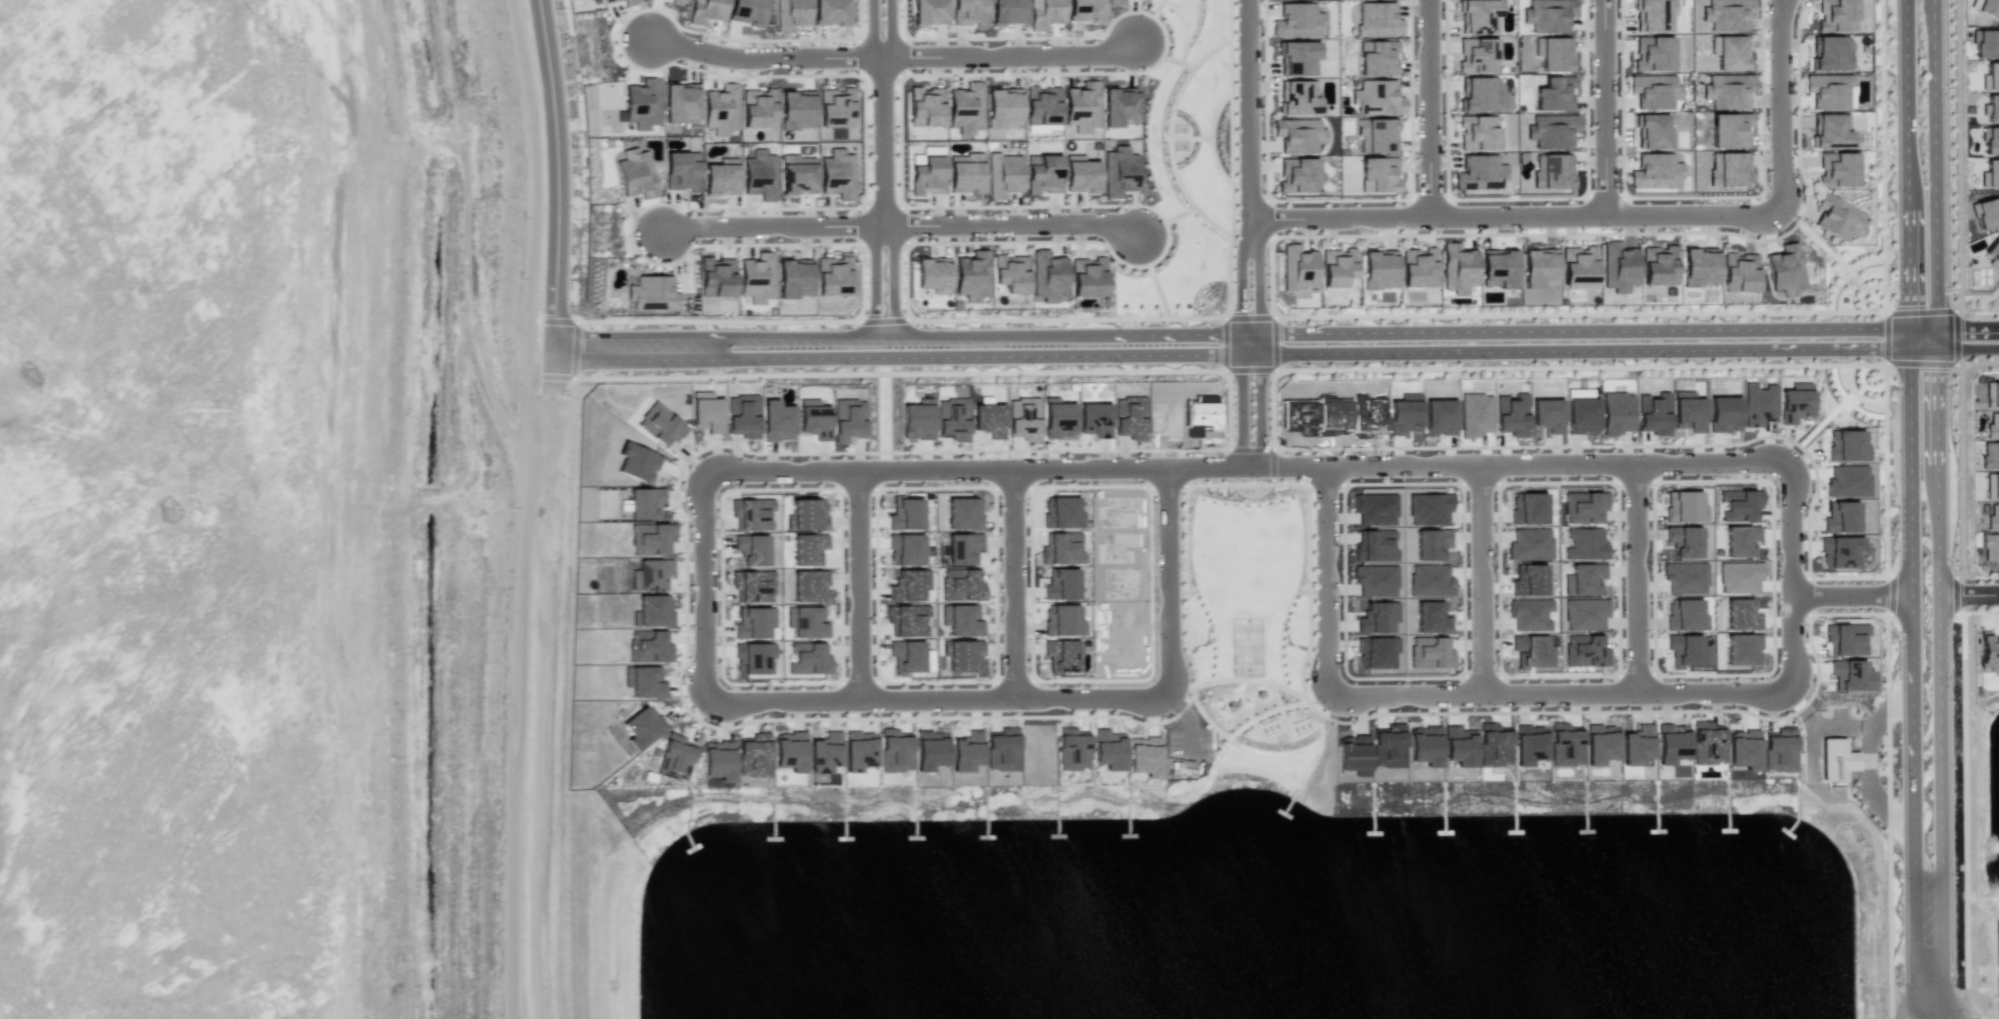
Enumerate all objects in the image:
building: (595, 0)
building: (609, 1)
building: (680, 1)
building: (630, 2)
building: (1115, 2)
building: (1008, 4)
building: (1988, 7)
building: (1086, 10)
building: (706, 11)
building: (746, 11)
building: (929, 12)
building: (969, 12)
building: (832, 13)
building: (1046, 13)
building: (791, 14)
building: (1726, 14)
building: (1478, 15)
building: (1547, 15)
building: (1654, 15)
building: (1836, 15)
building: (1297, 20)
building: (1378, 20)
road: (891, 29)
road: (871, 30)
building: (1984, 44)
building: (1729, 52)
building: (1829, 53)
road: (1010, 54)
building: (1553, 54)
building: (1653, 54)
building: (1477, 55)
road: (763, 57)
building: (1377, 57)
building: (1298, 58)
building: (1991, 76)
building: (1727, 90)
building: (1829, 90)
building: (1654, 91)
building: (1554, 93)
building: (1479, 94)
building: (1298, 97)
building: (1377, 97)
building: (681, 102)
building: (641, 105)
building: (1042, 106)
road: (1779, 106)
building: (836, 107)
building: (926, 107)
building: (1082, 107)
building: (759, 108)
building: (966, 108)
building: (1004, 108)
building: (1119, 108)
building: (797, 109)
road: (1419, 109)
road: (1603, 109)
building: (1992, 109)
building: (721, 110)
road: (1250, 117)
building: (1729, 130)
building: (1830, 130)
building: (1552, 131)
building: (1653, 131)
building: (1477, 133)
building: (1298, 135)
building: (1376, 135)
road: (883, 140)
building: (1990, 141)
park: (1185, 169)
building: (1727, 169)
building: (1837, 169)
building: (1120, 170)
building: (682, 171)
building: (1479, 172)
building: (1552, 172)
building: (966, 173)
building: (1656, 173)
building: (636, 174)
building: (760, 174)
building: (798, 174)
building: (839, 174)
building: (1043, 174)
building: (1081, 174)
building: (1378, 174)
building: (1990, 174)
building: (1003, 175)
building: (1298, 175)
building: (928, 176)
road: (1958, 176)
building: (721, 177)
road: (561, 195)
road: (782, 207)
building: (1986, 213)
road: (1514, 219)
building: (1837, 219)
road: (1012, 224)
road: (773, 225)
road: (459, 246)
building: (1993, 253)
road: (1840, 263)
building: (1659, 265)
building: (1417, 266)
building: (1579, 266)
road: (1866, 266)
building: (1337, 267)
building: (1618, 267)
building: (1298, 268)
building: (1539, 268)
building: (1380, 269)
building: (1458, 269)
building: (1499, 269)
building: (1699, 269)
building: (1785, 270)
building: (1738, 272)
building: (1011, 273)
building: (933, 274)
building: (1048, 275)
building: (833, 276)
building: (717, 277)
road: (873, 277)
building: (972, 277)
building: (1087, 277)
building: (757, 278)
road: (893, 278)
building: (793, 281)
road: (1872, 289)
road: (1838, 291)
building: (654, 294)
road: (1258, 294)
road: (1935, 296)
road: (1313, 313)
road: (1273, 335)
road: (1238, 348)
road: (1967, 348)
road: (1243, 356)
road: (1862, 386)
road: (1855, 393)
building: (1992, 395)
road: (1848, 401)
building: (1758, 404)
building: (1793, 405)
building: (1291, 409)
road: (1260, 410)
building: (1475, 411)
building: (1688, 411)
building: (707, 412)
building: (1581, 413)
building: (1616, 413)
building: (1511, 414)
building: (1653, 414)
building: (1723, 414)
building: (1547, 415)
building: (743, 416)
building: (1333, 416)
building: (1367, 416)
building: (1404, 416)
building: (1440, 416)
building: (1200, 417)
building: (1058, 418)
building: (1130, 418)
building: (813, 419)
building: (917, 419)
building: (953, 419)
building: (989, 419)
building: (1024, 419)
building: (1095, 419)
building: (849, 420)
building: (778, 421)
road: (1822, 423)
building: (660, 424)
building: (1992, 428)
building: (1846, 445)
building: (1989, 456)
road: (1525, 462)
building: (638, 464)
road: (982, 469)
road: (1960, 469)
road: (1904, 478)
building: (1847, 482)
building: (1992, 485)
road: (1616, 489)
road: (1771, 489)
road: (1461, 491)
building: (644, 502)
building: (1738, 505)
building: (1583, 506)
building: (1684, 506)
building: (1428, 508)
building: (1527, 508)
building: (1374, 509)
building: (1055, 512)
building: (906, 513)
building: (751, 514)
building: (964, 514)
building: (807, 516)
building: (1840, 518)
building: (1993, 519)
crop: (252, 523)
building: (651, 538)
building: (1740, 540)
building: (1429, 543)
building: (1529, 544)
building: (1585, 544)
building: (1687, 544)
building: (1373, 545)
building: (1990, 546)
building: (808, 548)
building: (963, 548)
building: (752, 549)
building: (906, 549)
building: (1061, 549)
building: (1839, 552)
road: (1885, 574)
building: (651, 575)
building: (1739, 576)
road: (1790, 577)
building: (1685, 578)
building: (1583, 579)
road: (1635, 579)
building: (1375, 580)
road: (1484, 580)
building: (1528, 580)
building: (1429, 581)
road: (1170, 582)
road: (1323, 582)
building: (1061, 584)
building: (909, 585)
building: (961, 585)
road: (1010, 585)
building: (753, 586)
building: (809, 586)
road: (857, 587)
road: (703, 590)
road: (1849, 593)
road: (1969, 593)
building: (653, 611)
building: (1529, 614)
building: (1584, 614)
building: (1684, 614)
building: (1740, 614)
building: (1377, 616)
building: (1431, 617)
building: (907, 620)
building: (961, 620)
building: (1061, 620)
park: (1250, 620)
building: (806, 622)
building: (748, 625)
building: (1845, 640)
park: (1246, 645)
building: (649, 647)
building: (1685, 649)
building: (1741, 649)
building: (1531, 651)
building: (1585, 651)
building: (1375, 652)
building: (1988, 652)
building: (962, 653)
building: (1429, 653)
building: (1062, 655)
building: (907, 656)
building: (753, 657)
building: (808, 659)
building: (1850, 675)
road: (1253, 681)
building: (644, 682)
road: (1276, 696)
road: (1556, 697)
road: (936, 701)
road: (978, 717)
building: (643, 727)
road: (1239, 727)
building: (1706, 742)
building: (1565, 744)
building: (1600, 744)
building: (1670, 744)
building: (1389, 745)
building: (1424, 745)
building: (1494, 745)
building: (1529, 745)
building: (1637, 745)
building: (1459, 746)
building: (1073, 748)
building: (1109, 749)
building: (1744, 749)
building: (859, 750)
building: (895, 750)
building: (930, 750)
building: (1779, 750)
building: (790, 751)
building: (967, 751)
building: (826, 753)
building: (1002, 753)
road: (1287, 753)
building: (754, 755)
building: (1353, 755)
building: (675, 756)
building: (1145, 756)
building: (718, 759)
building: (1835, 759)
road: (1940, 773)
road: (1265, 774)
road: (1964, 782)
road: (1925, 986)

